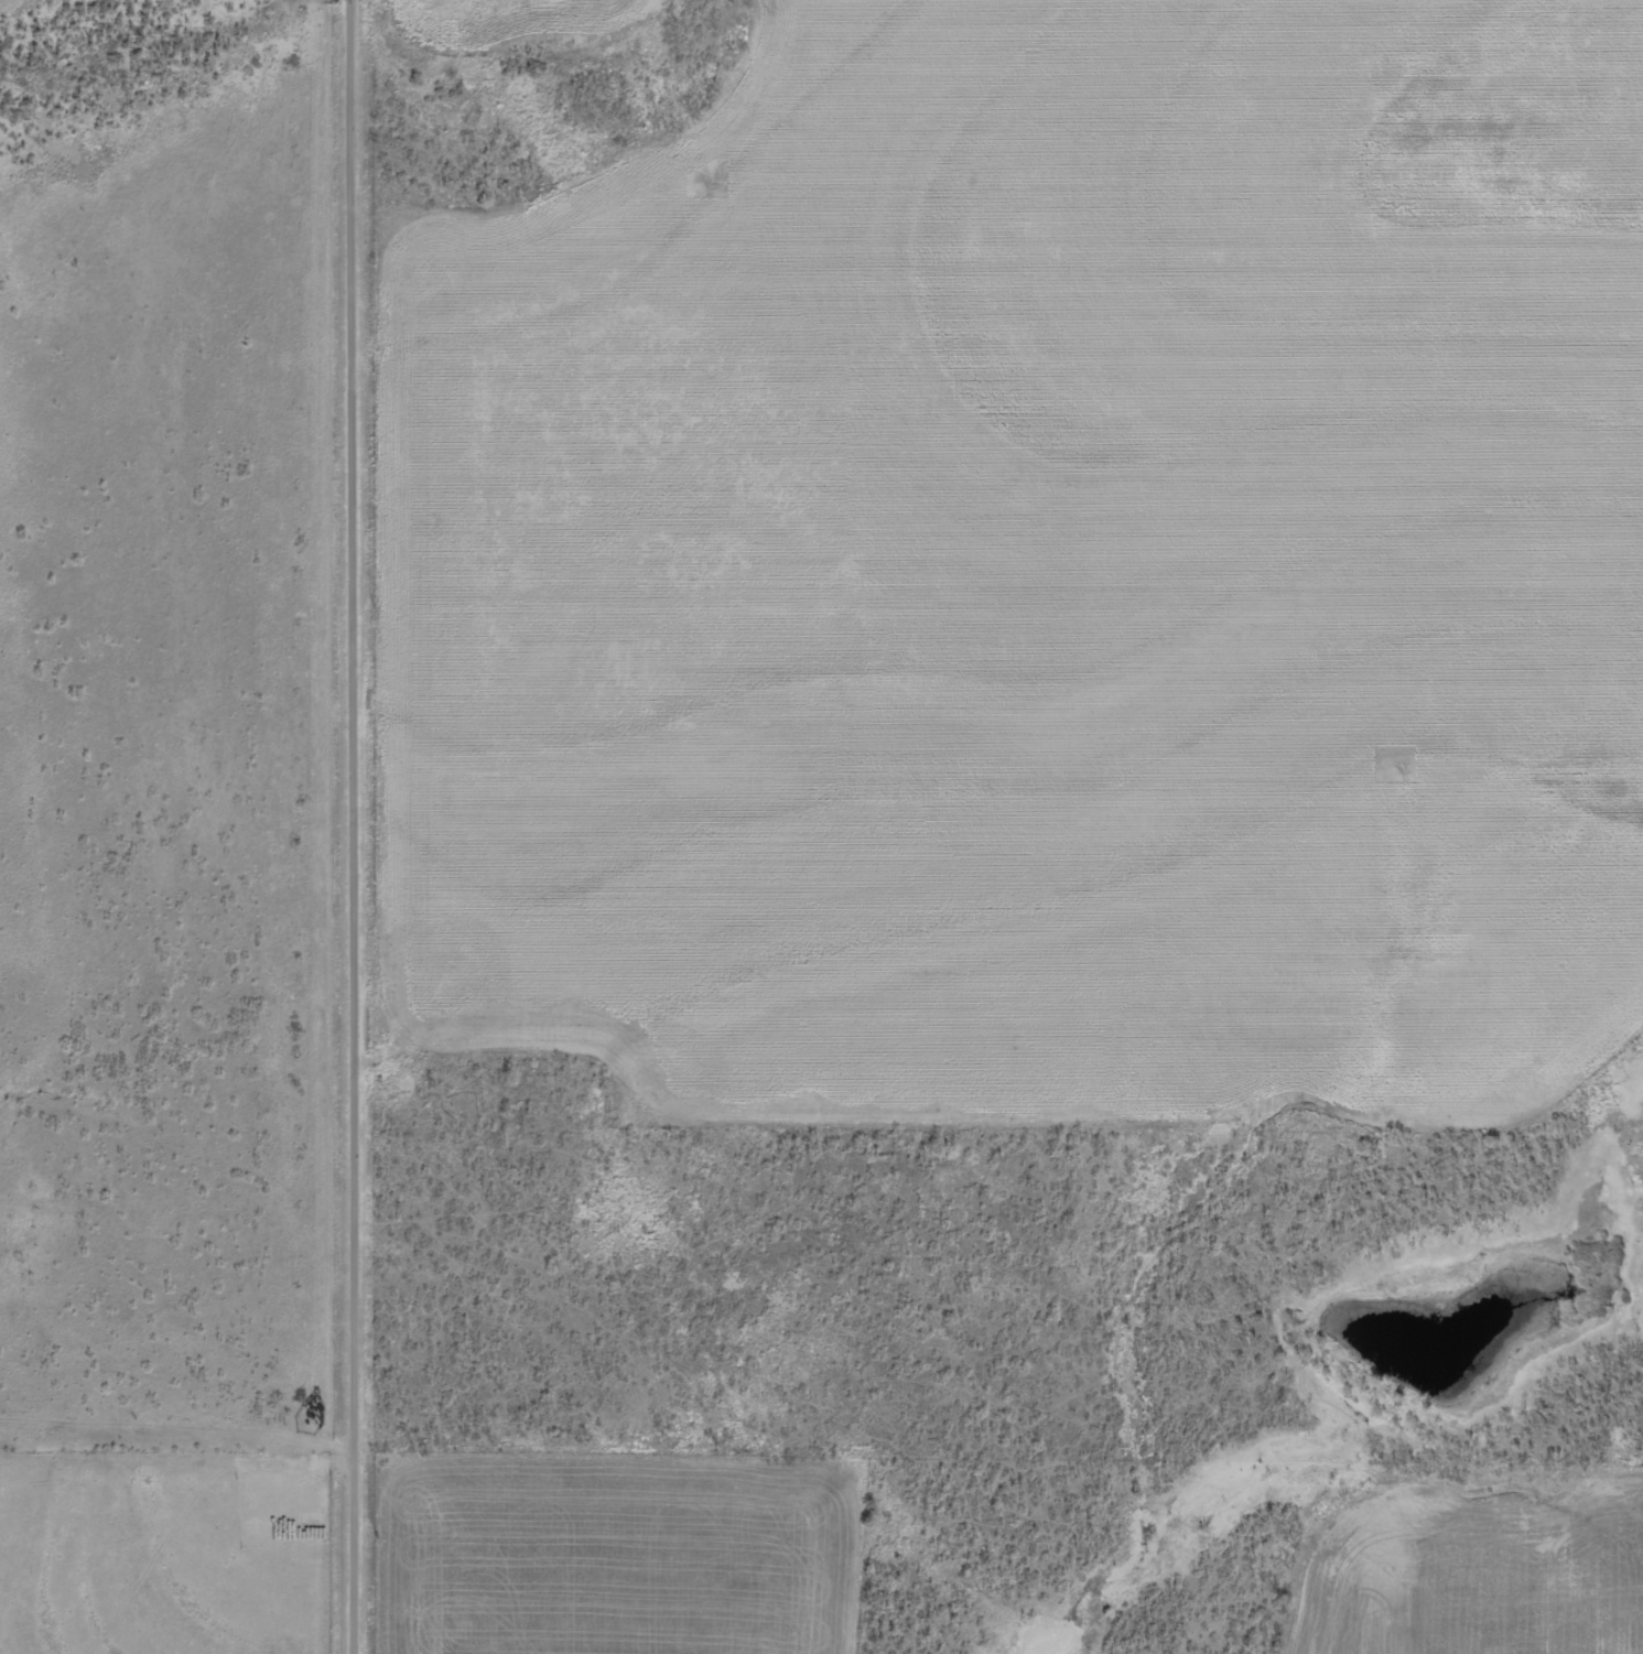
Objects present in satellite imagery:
road: (353, 826)

